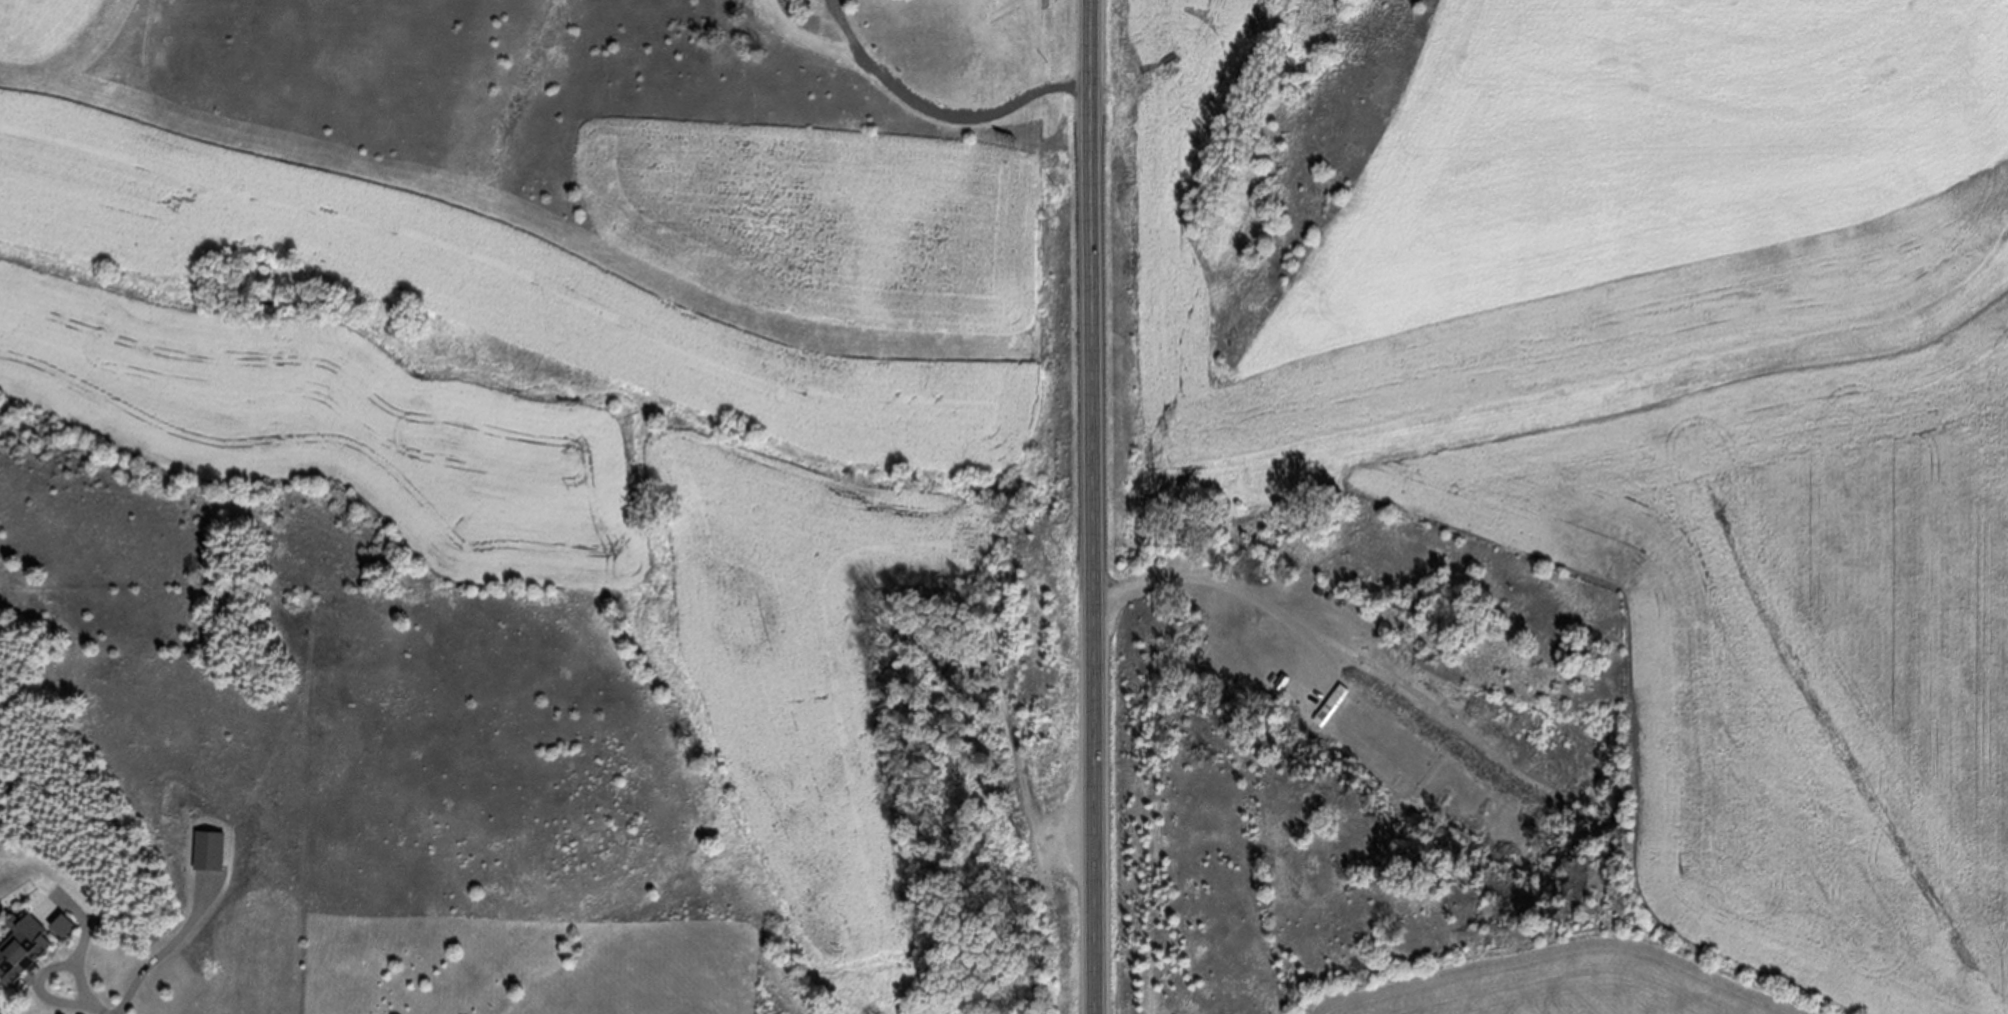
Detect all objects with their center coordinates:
road: (938, 113)
road: (1096, 506)
road: (1296, 624)
building: (1360, 643)
building: (1332, 705)
road: (85, 916)
building: (62, 925)
building: (22, 945)
road: (44, 973)
road: (102, 1008)

